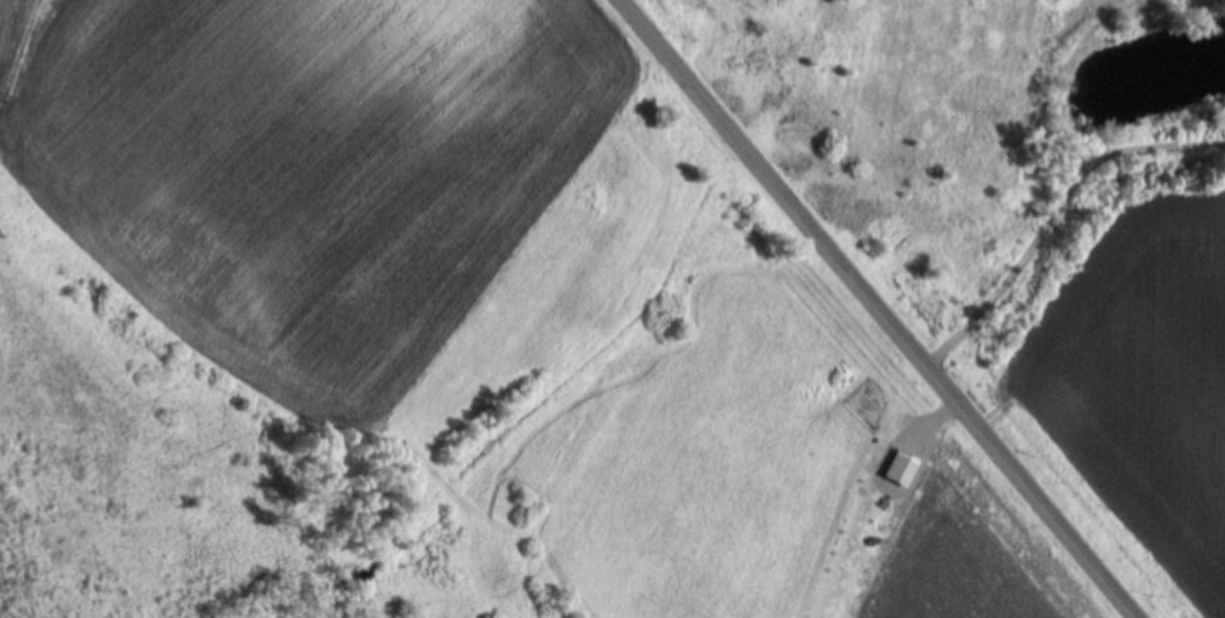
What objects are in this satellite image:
road: (1062, 223)
road: (891, 308)

